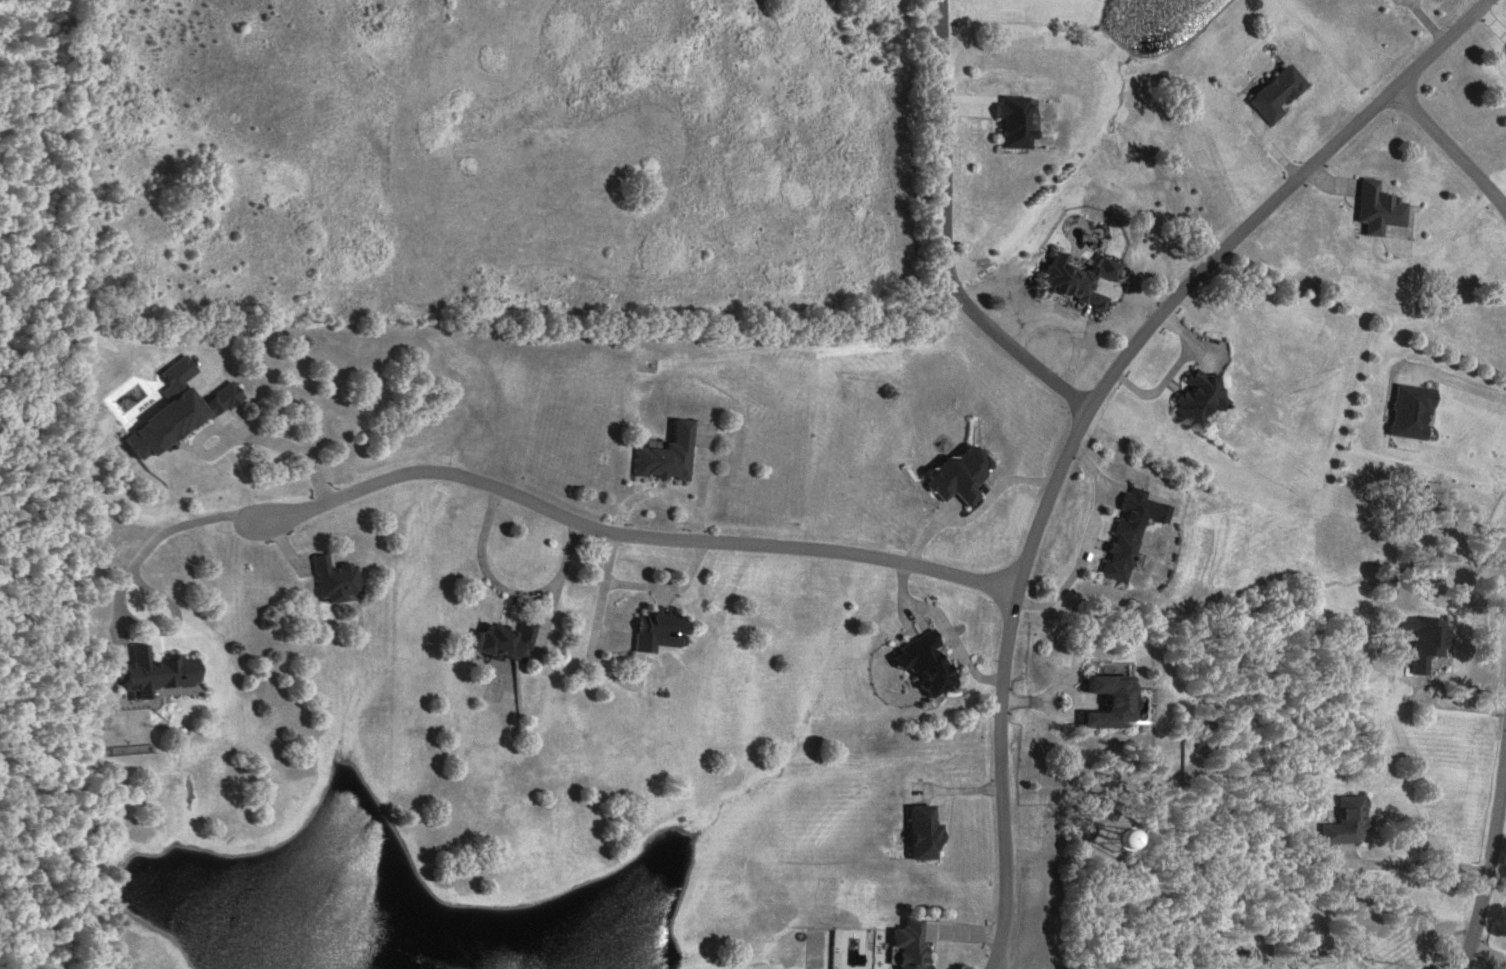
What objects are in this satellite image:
road: (1466, 21)
road: (1429, 55)
building: (1277, 95)
building: (1015, 121)
road: (1451, 146)
building: (1379, 209)
road: (946, 235)
road: (1447, 239)
building: (1078, 280)
building: (1200, 401)
building: (178, 413)
building: (1412, 413)
road: (1065, 454)
building: (666, 457)
building: (962, 476)
road: (404, 478)
building: (1121, 553)
building: (335, 582)
road: (641, 587)
road: (506, 591)
building: (659, 632)
building: (508, 642)
building: (1426, 643)
building: (927, 665)
building: (160, 674)
building: (1113, 704)
building: (1347, 824)
building: (925, 834)
road: (1419, 865)
road: (1489, 872)
road: (115, 943)
building: (911, 946)

